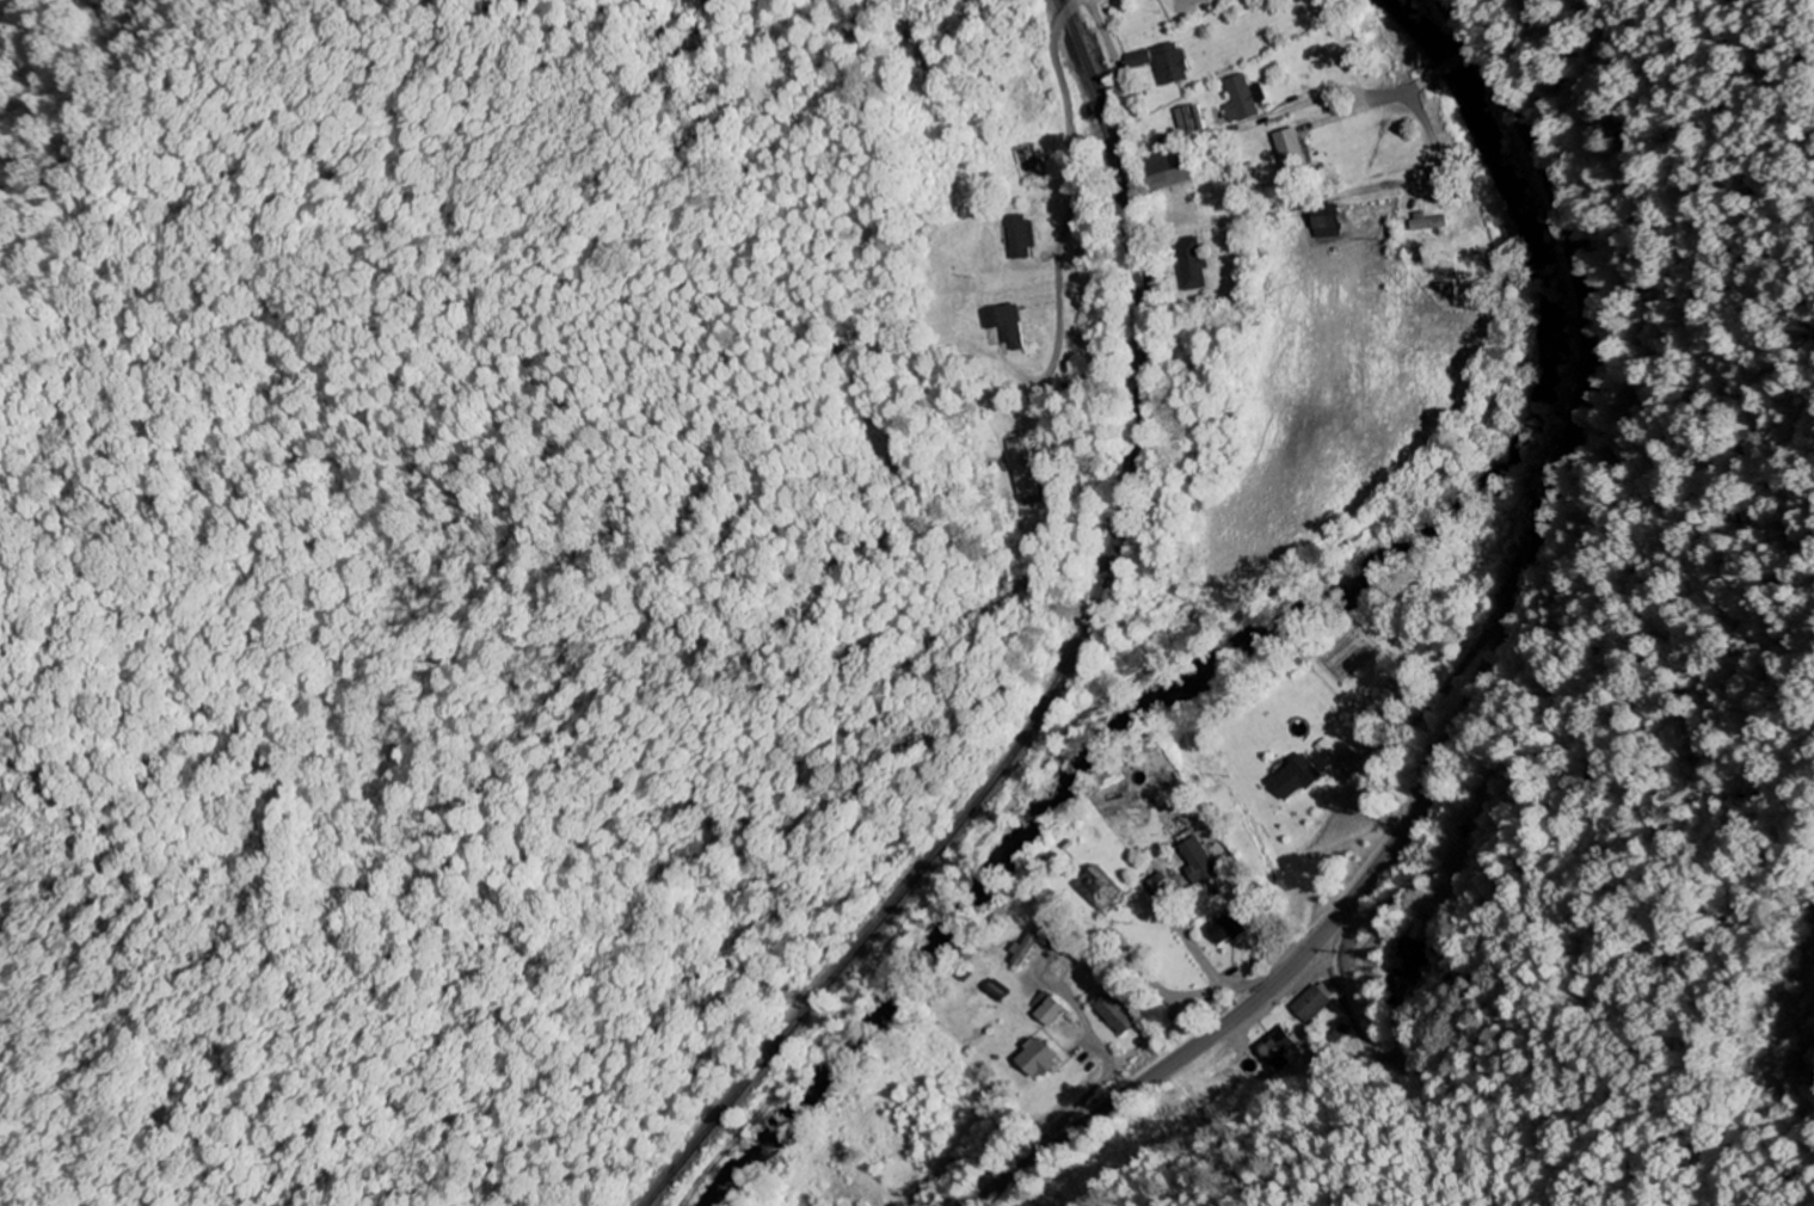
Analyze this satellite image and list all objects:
building: (1163, 64)
building: (1242, 101)
building: (1191, 122)
building: (1292, 150)
road: (1432, 150)
building: (1168, 172)
road: (1072, 191)
road: (1254, 213)
building: (1328, 223)
building: (1429, 223)
building: (1022, 239)
building: (1193, 266)
building: (1006, 328)
building: (1023, 470)
railway: (1102, 672)
road: (1477, 687)
building: (1298, 780)
building: (1200, 863)
building: (1228, 930)
building: (1421, 931)
building: (1031, 947)
building: (1408, 960)
building: (1311, 1007)
building: (1047, 1010)
building: (1117, 1016)
building: (1278, 1047)
building: (1038, 1060)

